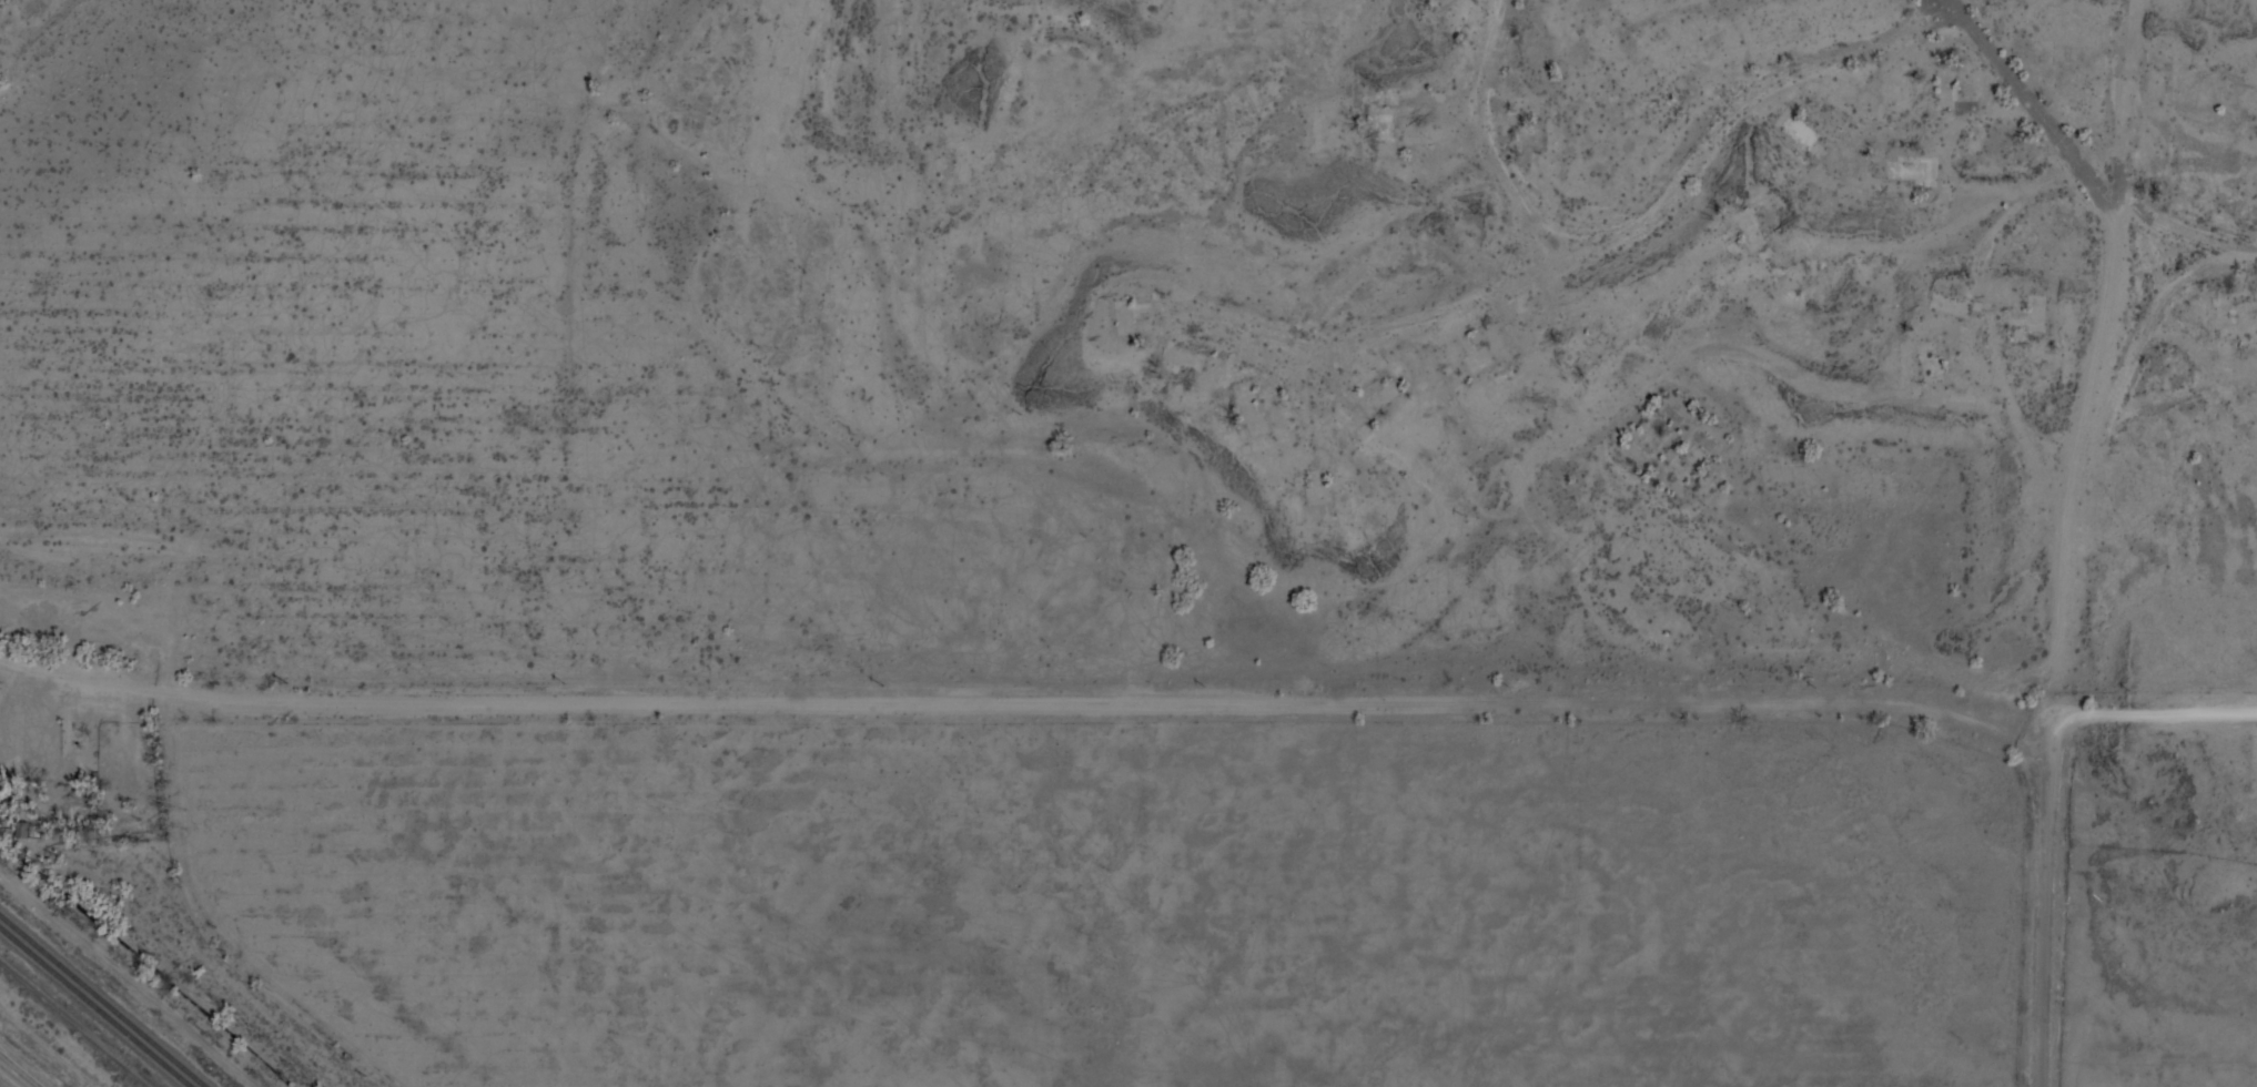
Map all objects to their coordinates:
road: (12, 7)
road: (1687, 174)
road: (2033, 190)
road: (1464, 257)
road: (2088, 369)
road: (2149, 710)
road: (1018, 736)
building: (18, 831)
road: (2047, 912)
railway: (101, 1002)
railway: (94, 1007)
road: (14, 1074)

